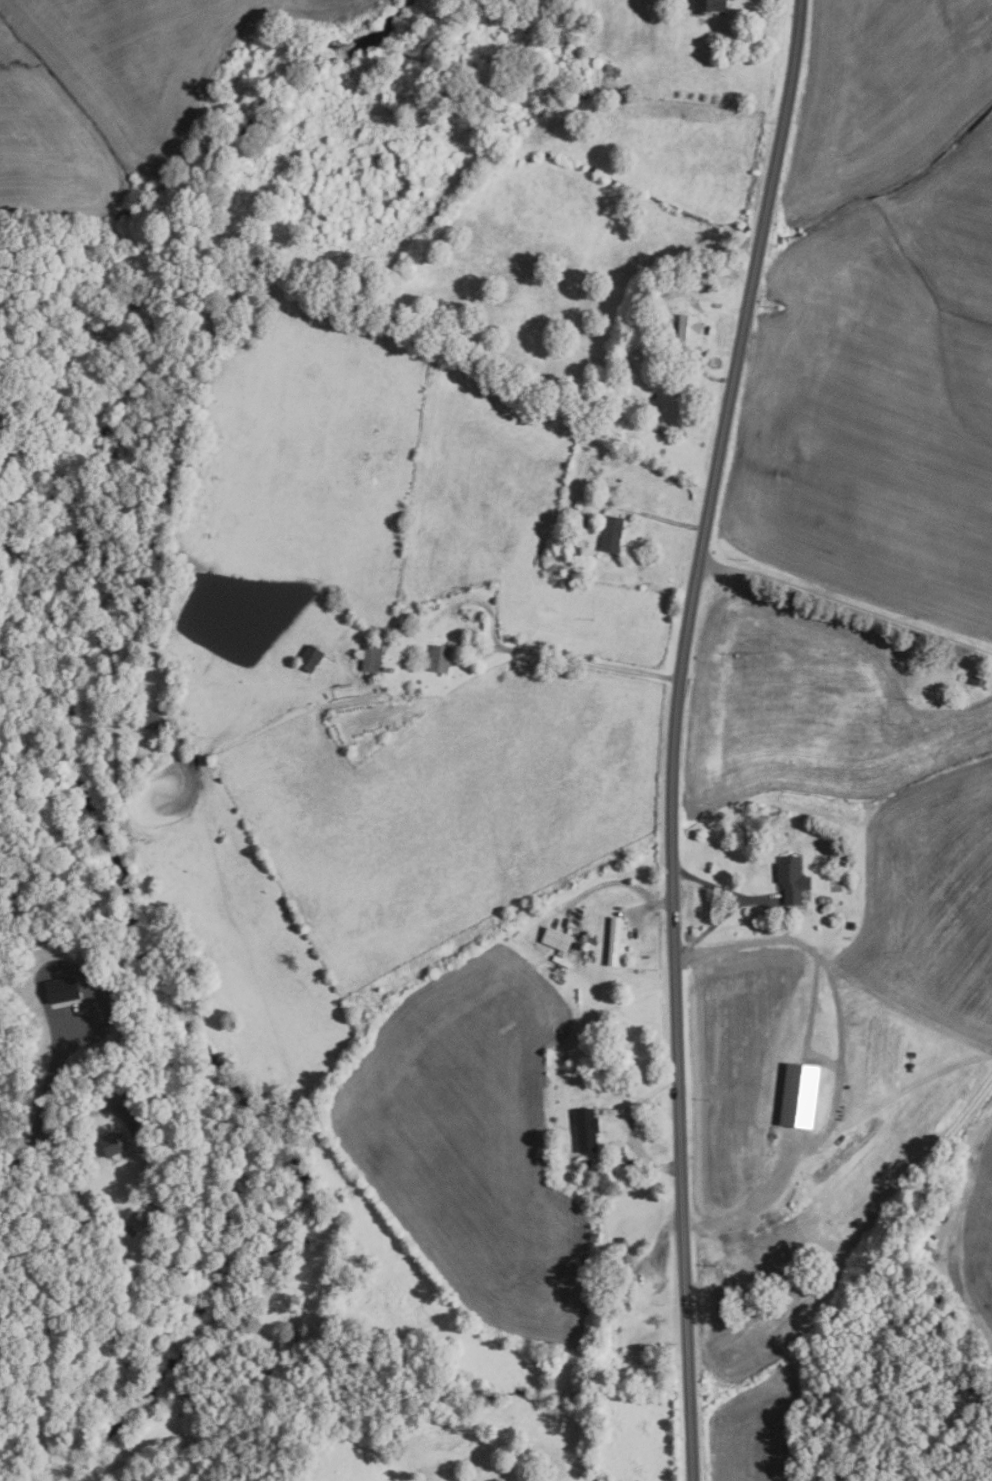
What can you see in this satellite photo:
building: (708, 5)
road: (725, 308)
building: (640, 330)
building: (686, 332)
building: (641, 341)
building: (627, 396)
road: (659, 518)
building: (611, 535)
building: (575, 547)
road: (846, 605)
road: (517, 651)
building: (310, 658)
building: (371, 659)
building: (439, 659)
building: (977, 681)
building: (145, 718)
road: (674, 734)
building: (792, 878)
road: (619, 882)
building: (822, 900)
road: (736, 906)
road: (643, 909)
building: (851, 924)
building: (590, 937)
building: (556, 938)
building: (614, 939)
building: (560, 953)
building: (61, 988)
road: (840, 1060)
road: (49, 1080)
building: (799, 1094)
road: (628, 1125)
road: (57, 1130)
building: (586, 1130)
building: (112, 1143)
building: (585, 1162)
building: (150, 1208)
building: (130, 1231)
building: (619, 1241)
road: (658, 1248)
building: (624, 1286)

